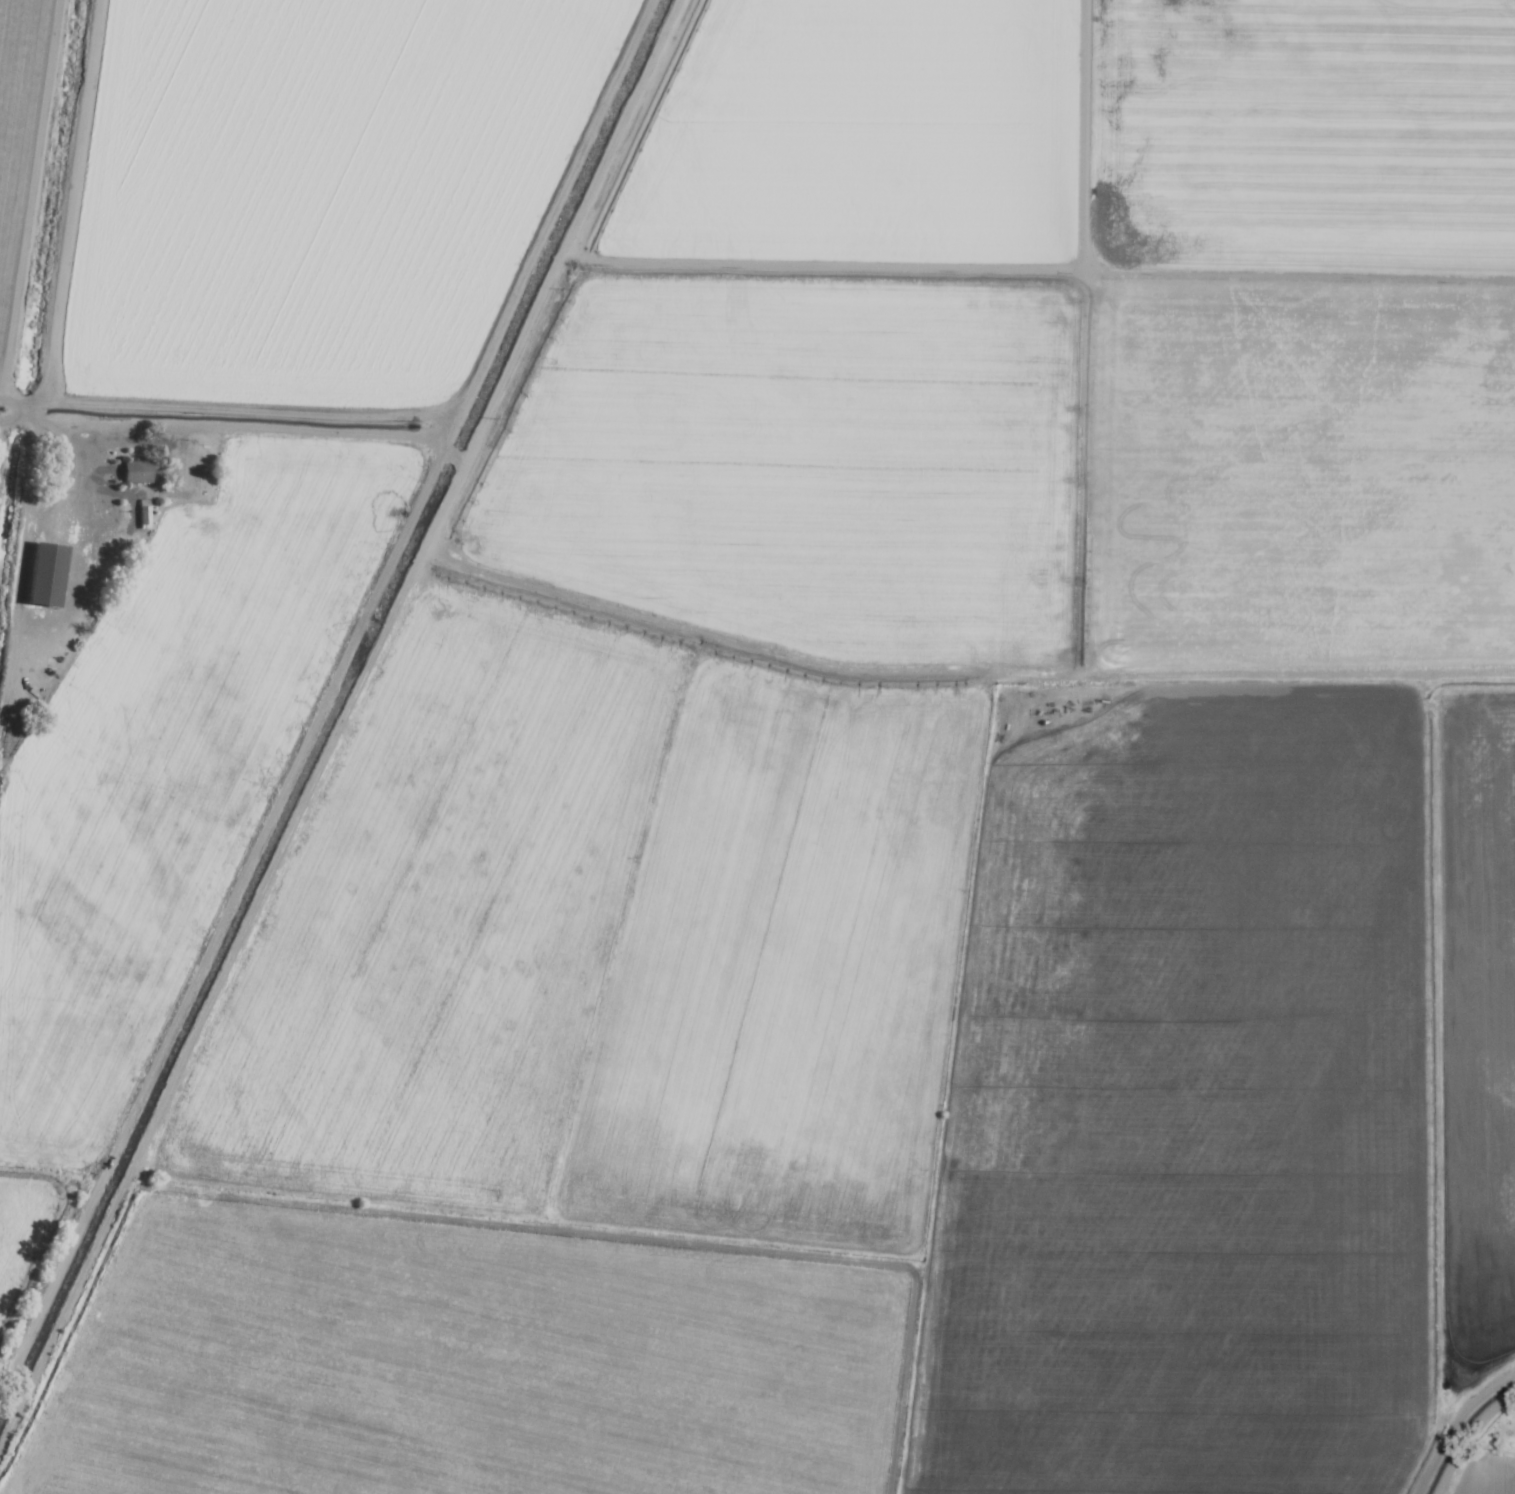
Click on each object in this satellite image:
road: (173, 423)
building: (187, 465)
building: (133, 473)
building: (140, 512)
building: (42, 575)
road: (322, 686)

